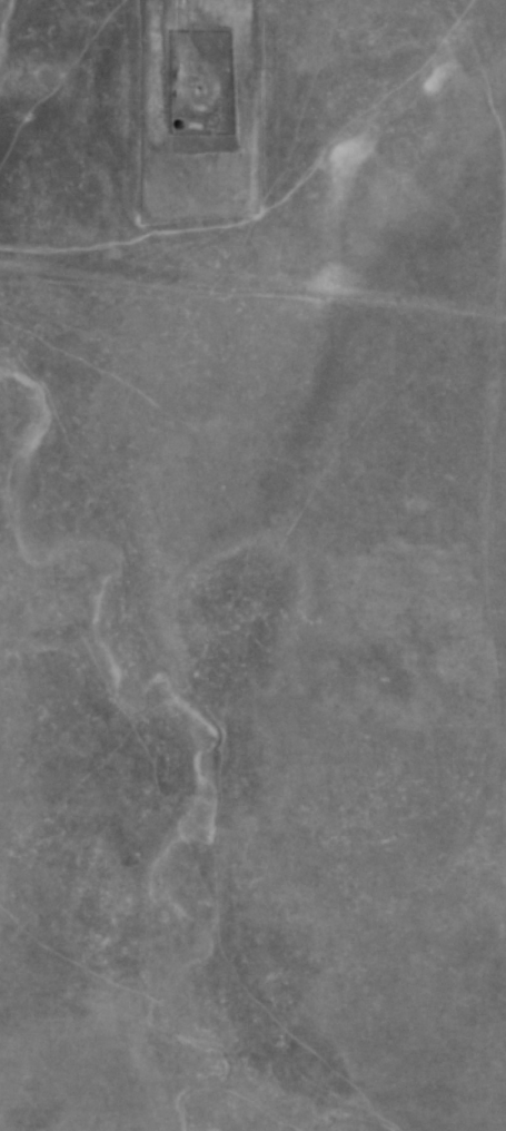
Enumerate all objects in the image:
road: (179, 21)
road: (204, 106)

